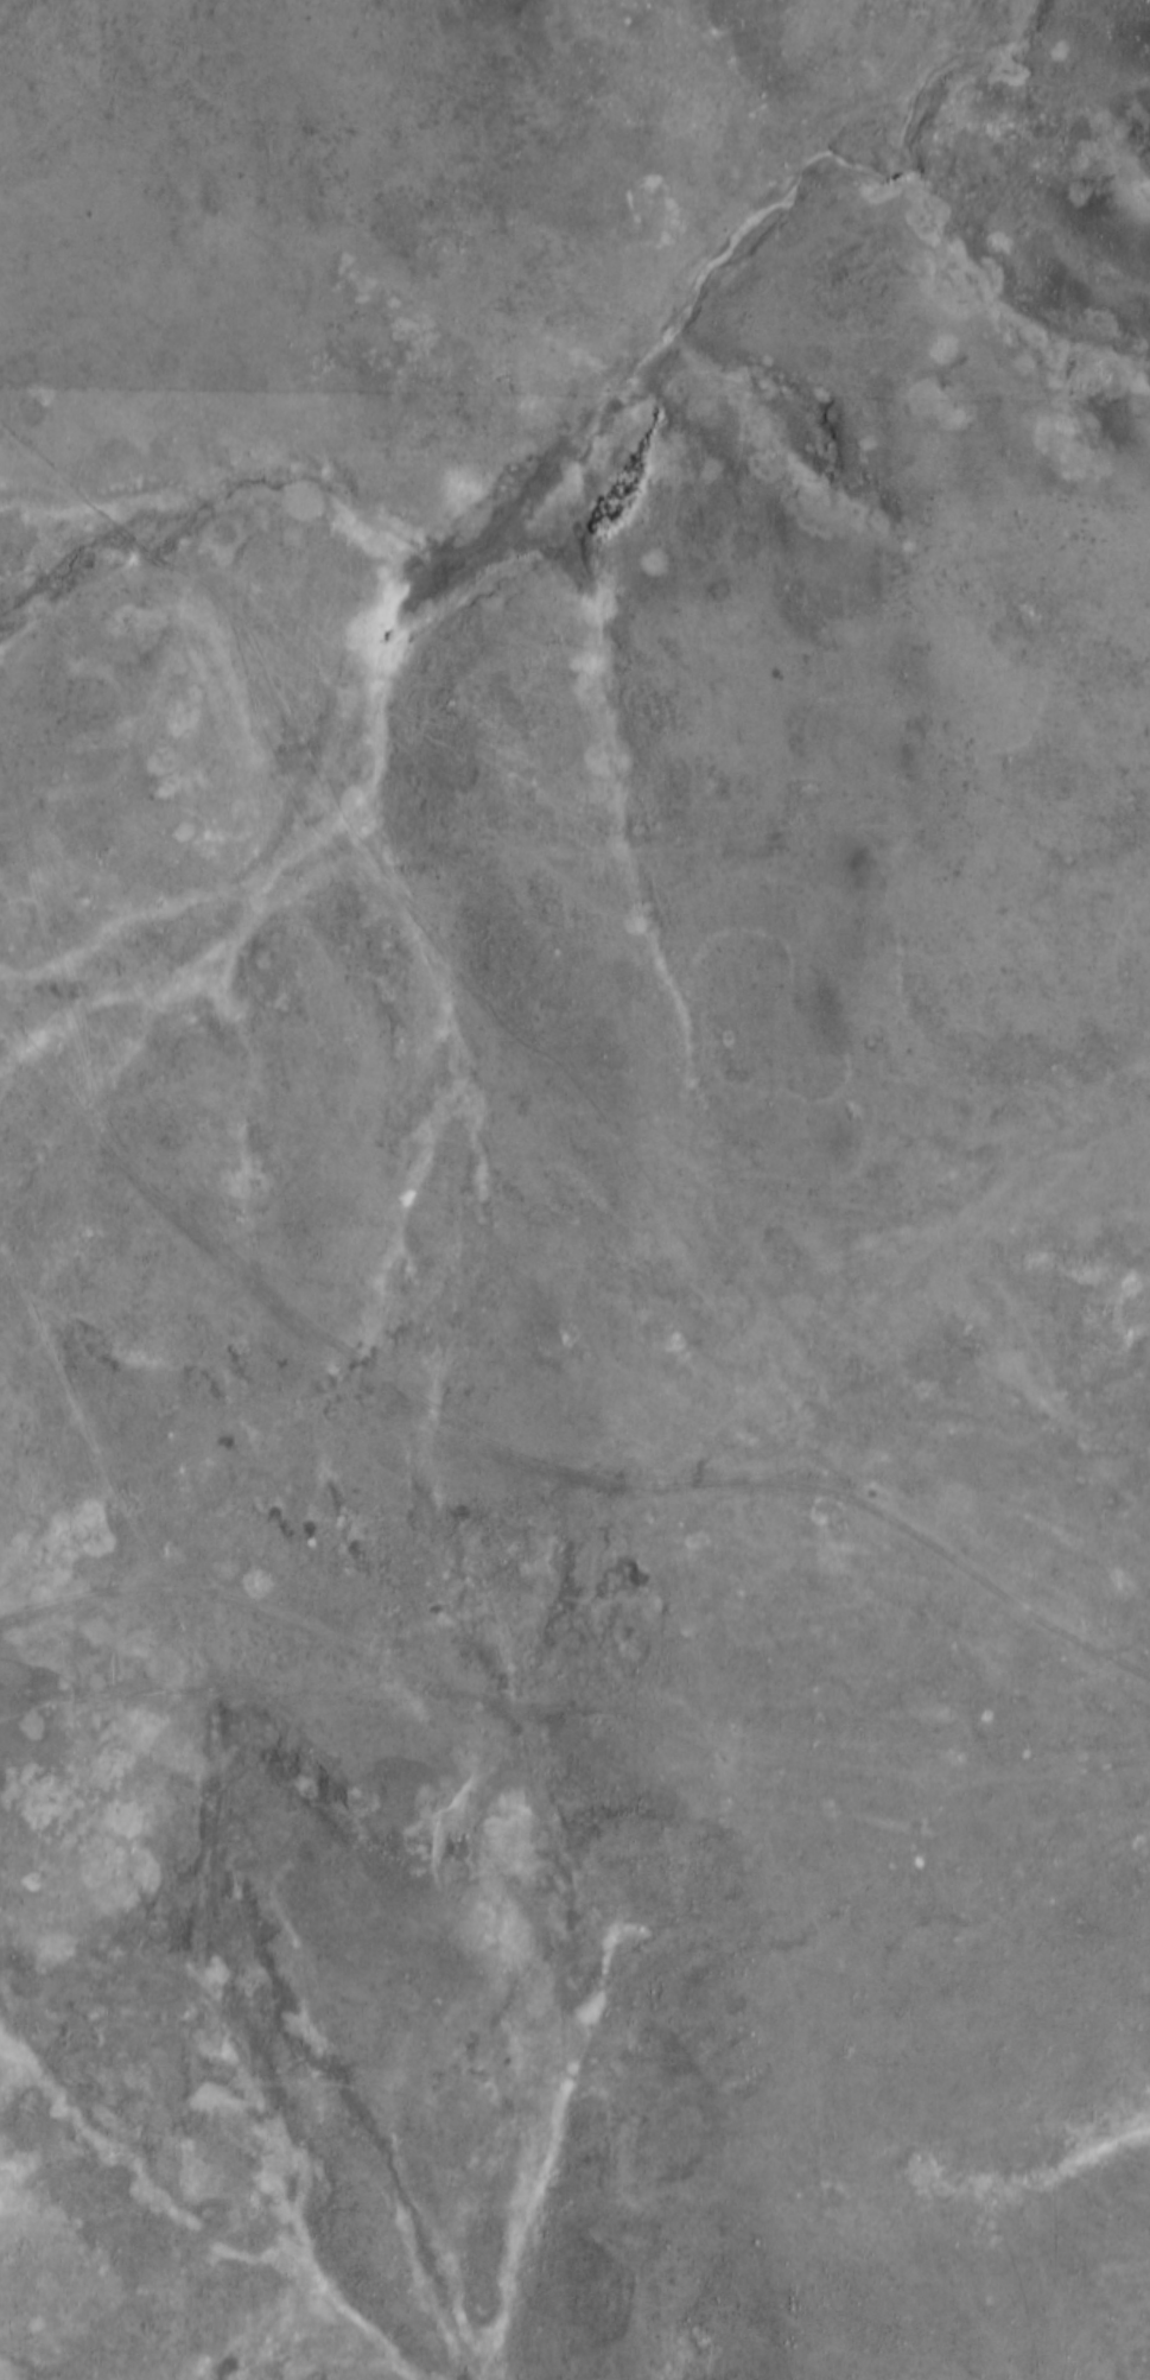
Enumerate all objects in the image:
road: (521, 1461)
road: (566, 1711)
road: (1051, 2185)

